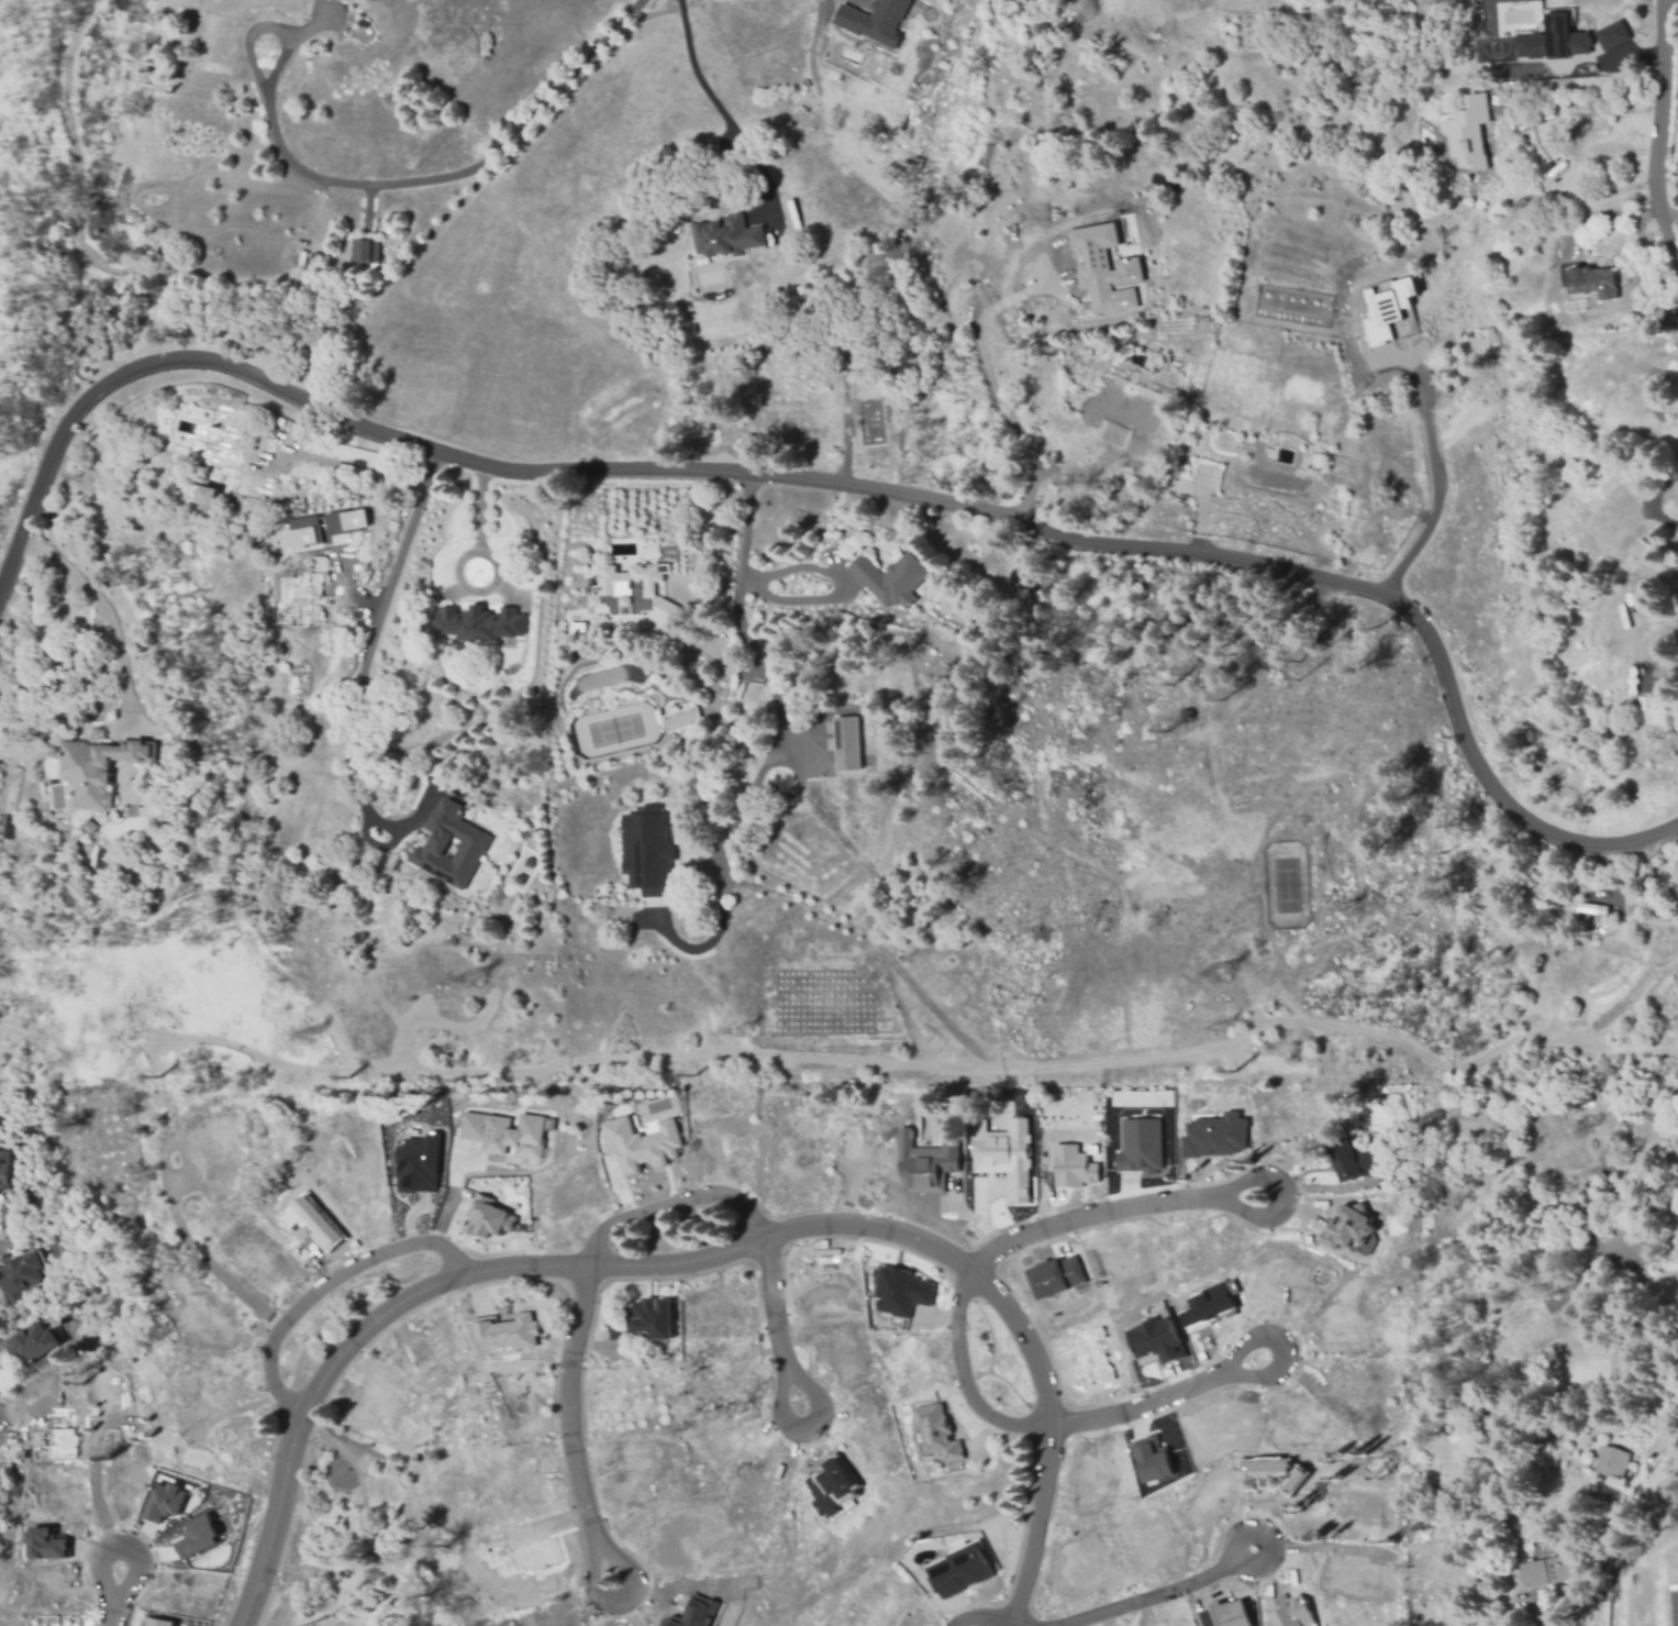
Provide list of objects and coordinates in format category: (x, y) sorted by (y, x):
road: (1670, 8)
road: (1080, 13)
building: (871, 21)
road: (275, 27)
road: (819, 27)
building: (1609, 34)
building: (1549, 41)
road: (715, 103)
road: (1590, 103)
road: (1657, 129)
building: (1465, 132)
road: (460, 174)
road: (1603, 217)
building: (723, 240)
building: (364, 241)
building: (1101, 270)
building: (1592, 281)
building: (1381, 311)
road: (981, 363)
building: (222, 439)
road: (1091, 468)
road: (1440, 471)
road: (836, 487)
building: (207, 495)
building: (347, 519)
building: (305, 530)
building: (891, 573)
road: (738, 575)
road: (844, 582)
building: (604, 585)
building: (297, 599)
road: (100, 604)
building: (471, 612)
building: (579, 629)
road: (365, 644)
building: (681, 721)
park: (614, 722)
building: (847, 735)
building: (96, 765)
building: (89, 826)
building: (454, 834)
building: (647, 836)
building: (1677, 873)
building: (1588, 908)
building: (520, 931)
power tower: (1216, 974)
power tower: (471, 981)
power tower: (1676, 1026)
power tower: (1221, 1030)
power tower: (743, 1033)
power tower: (309, 1037)
road: (921, 1064)
power tower: (367, 1079)
power tower: (1214, 1081)
building: (504, 1135)
building: (1214, 1136)
building: (641, 1144)
building: (1140, 1144)
building: (1004, 1153)
building: (1357, 1155)
building: (925, 1163)
building: (418, 1164)
building: (1073, 1166)
building: (7, 1168)
road: (452, 1193)
road: (673, 1201)
road: (1173, 1201)
building: (486, 1219)
building: (312, 1221)
building: (1349, 1224)
road: (1603, 1248)
road: (507, 1268)
building: (1055, 1274)
building: (24, 1275)
road: (323, 1285)
building: (901, 1292)
building: (1209, 1305)
building: (643, 1319)
building: (505, 1334)
building: (1158, 1335)
building: (35, 1342)
building: (1088, 1357)
road: (1219, 1375)
road: (965, 1380)
road: (784, 1385)
building: (936, 1433)
road: (1676, 1437)
road: (1055, 1439)
building: (1152, 1459)
building: (1612, 1462)
building: (1269, 1473)
road: (579, 1484)
building: (831, 1484)
building: (164, 1505)
building: (197, 1535)
park: (362, 1536)
road: (1267, 1536)
building: (44, 1541)
road: (123, 1545)
building: (1545, 1571)
building: (958, 1572)
building: (1454, 1575)
road: (1148, 1600)
building: (1289, 1612)
building: (692, 1613)
road: (112, 1615)
building: (1225, 1615)
road: (981, 1617)
road: (1512, 1617)
building: (156, 1621)
road: (1019, 1622)

